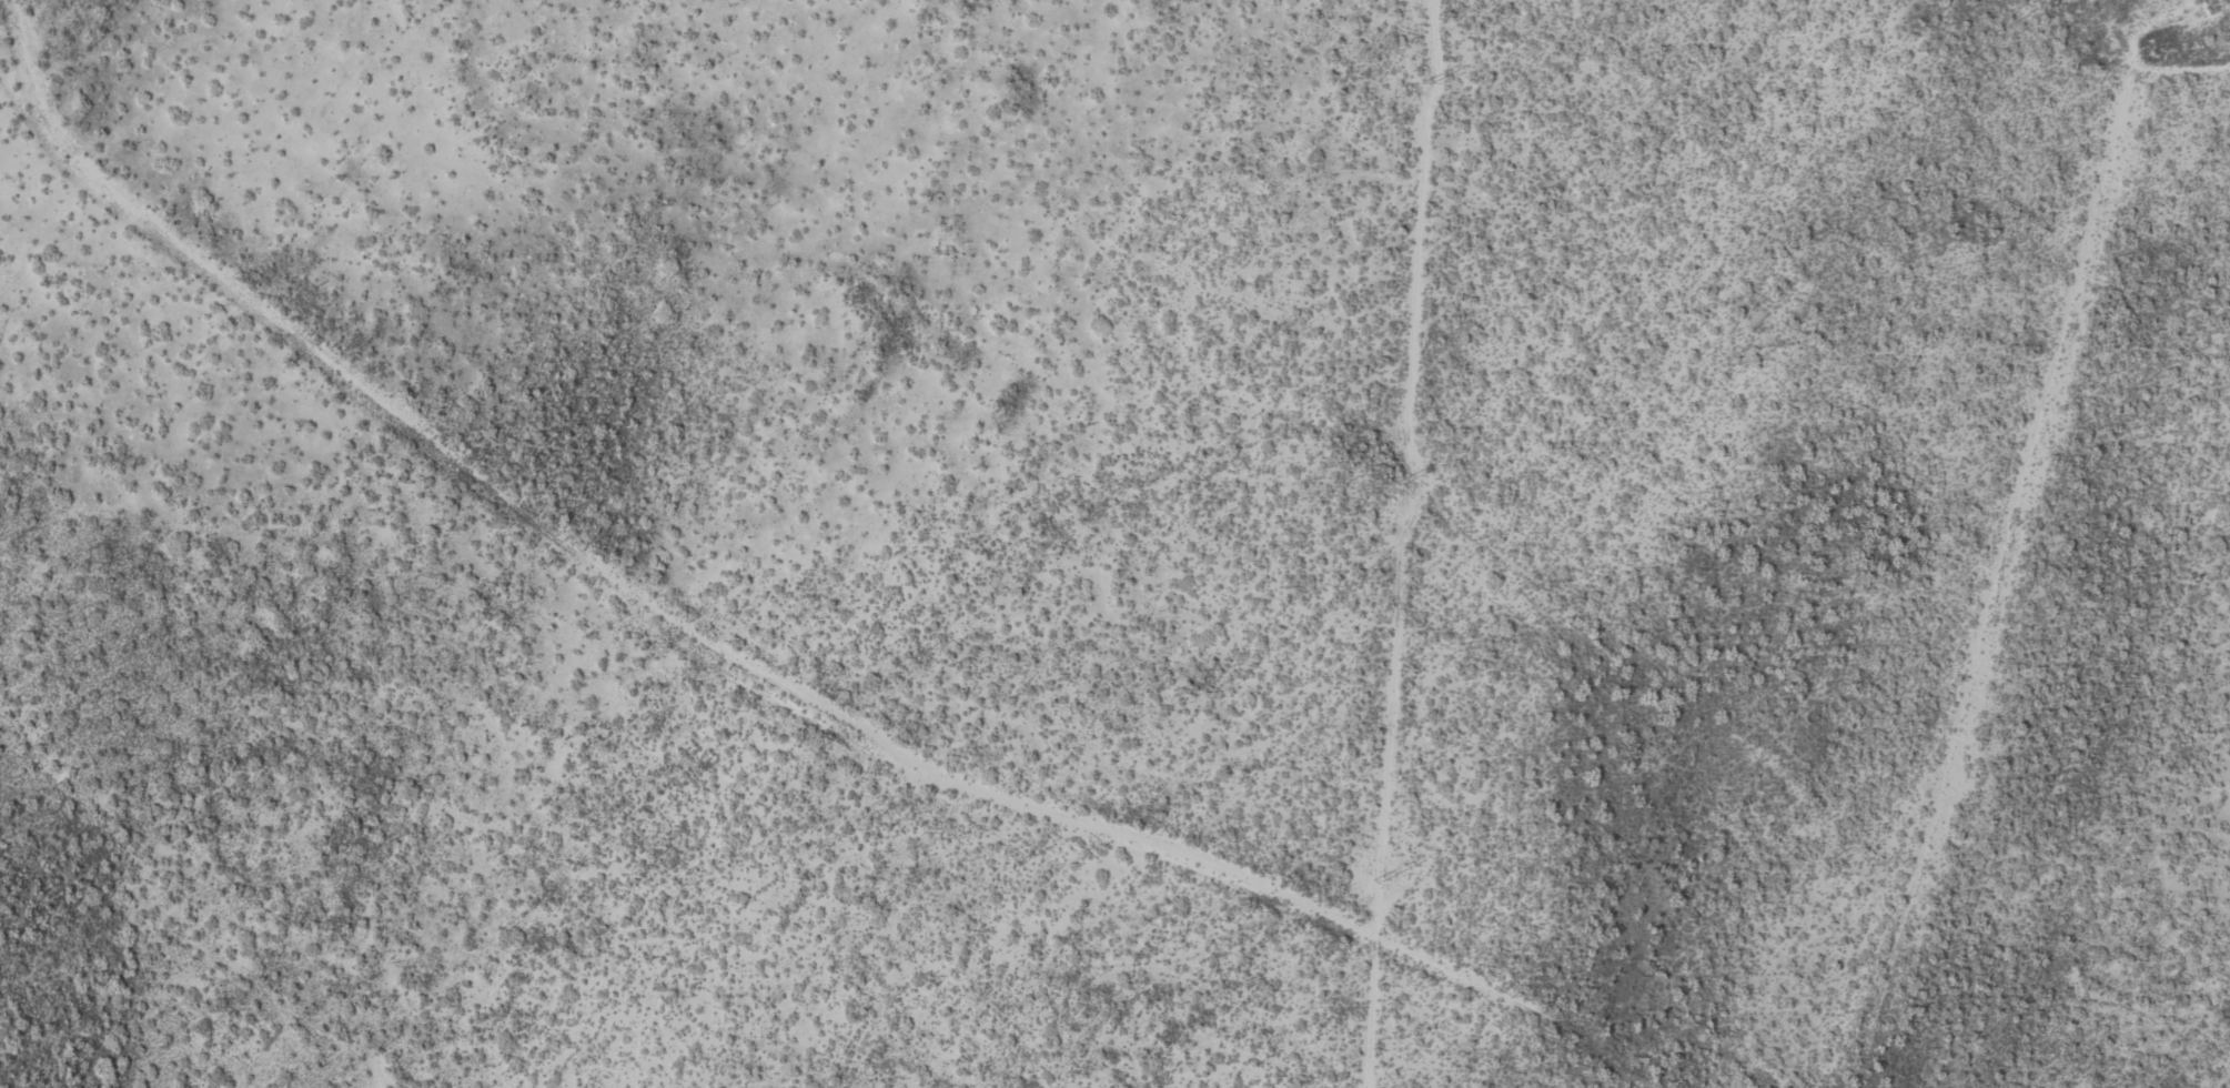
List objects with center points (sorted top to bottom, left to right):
power tower: (1426, 84)
power tower: (1402, 483)
road: (744, 663)
power tower: (1378, 880)

